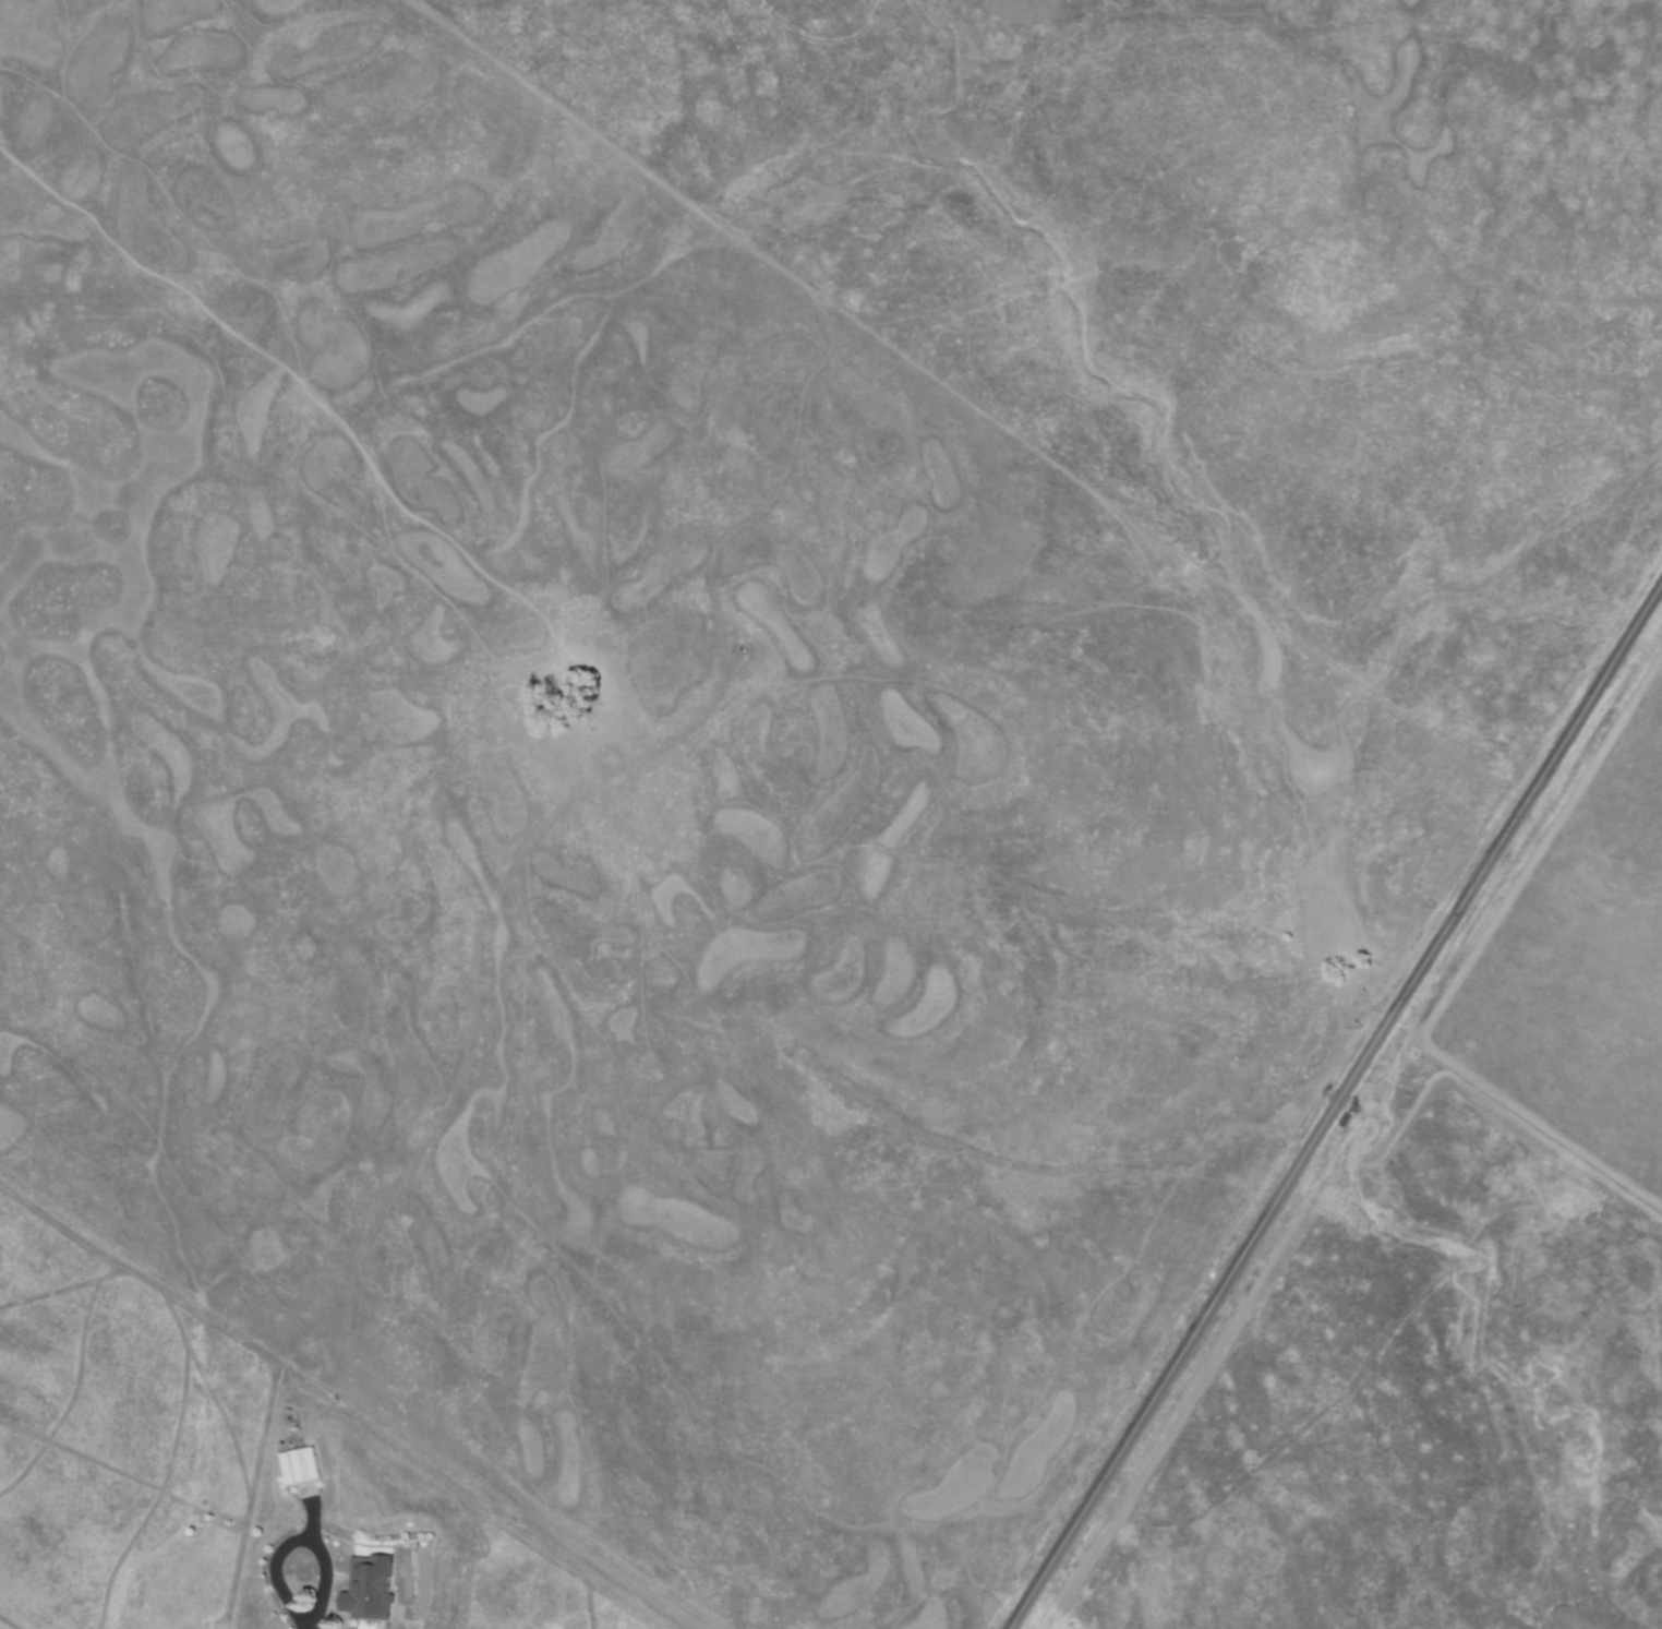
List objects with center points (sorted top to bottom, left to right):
road: (1336, 1107)
building: (298, 1465)

